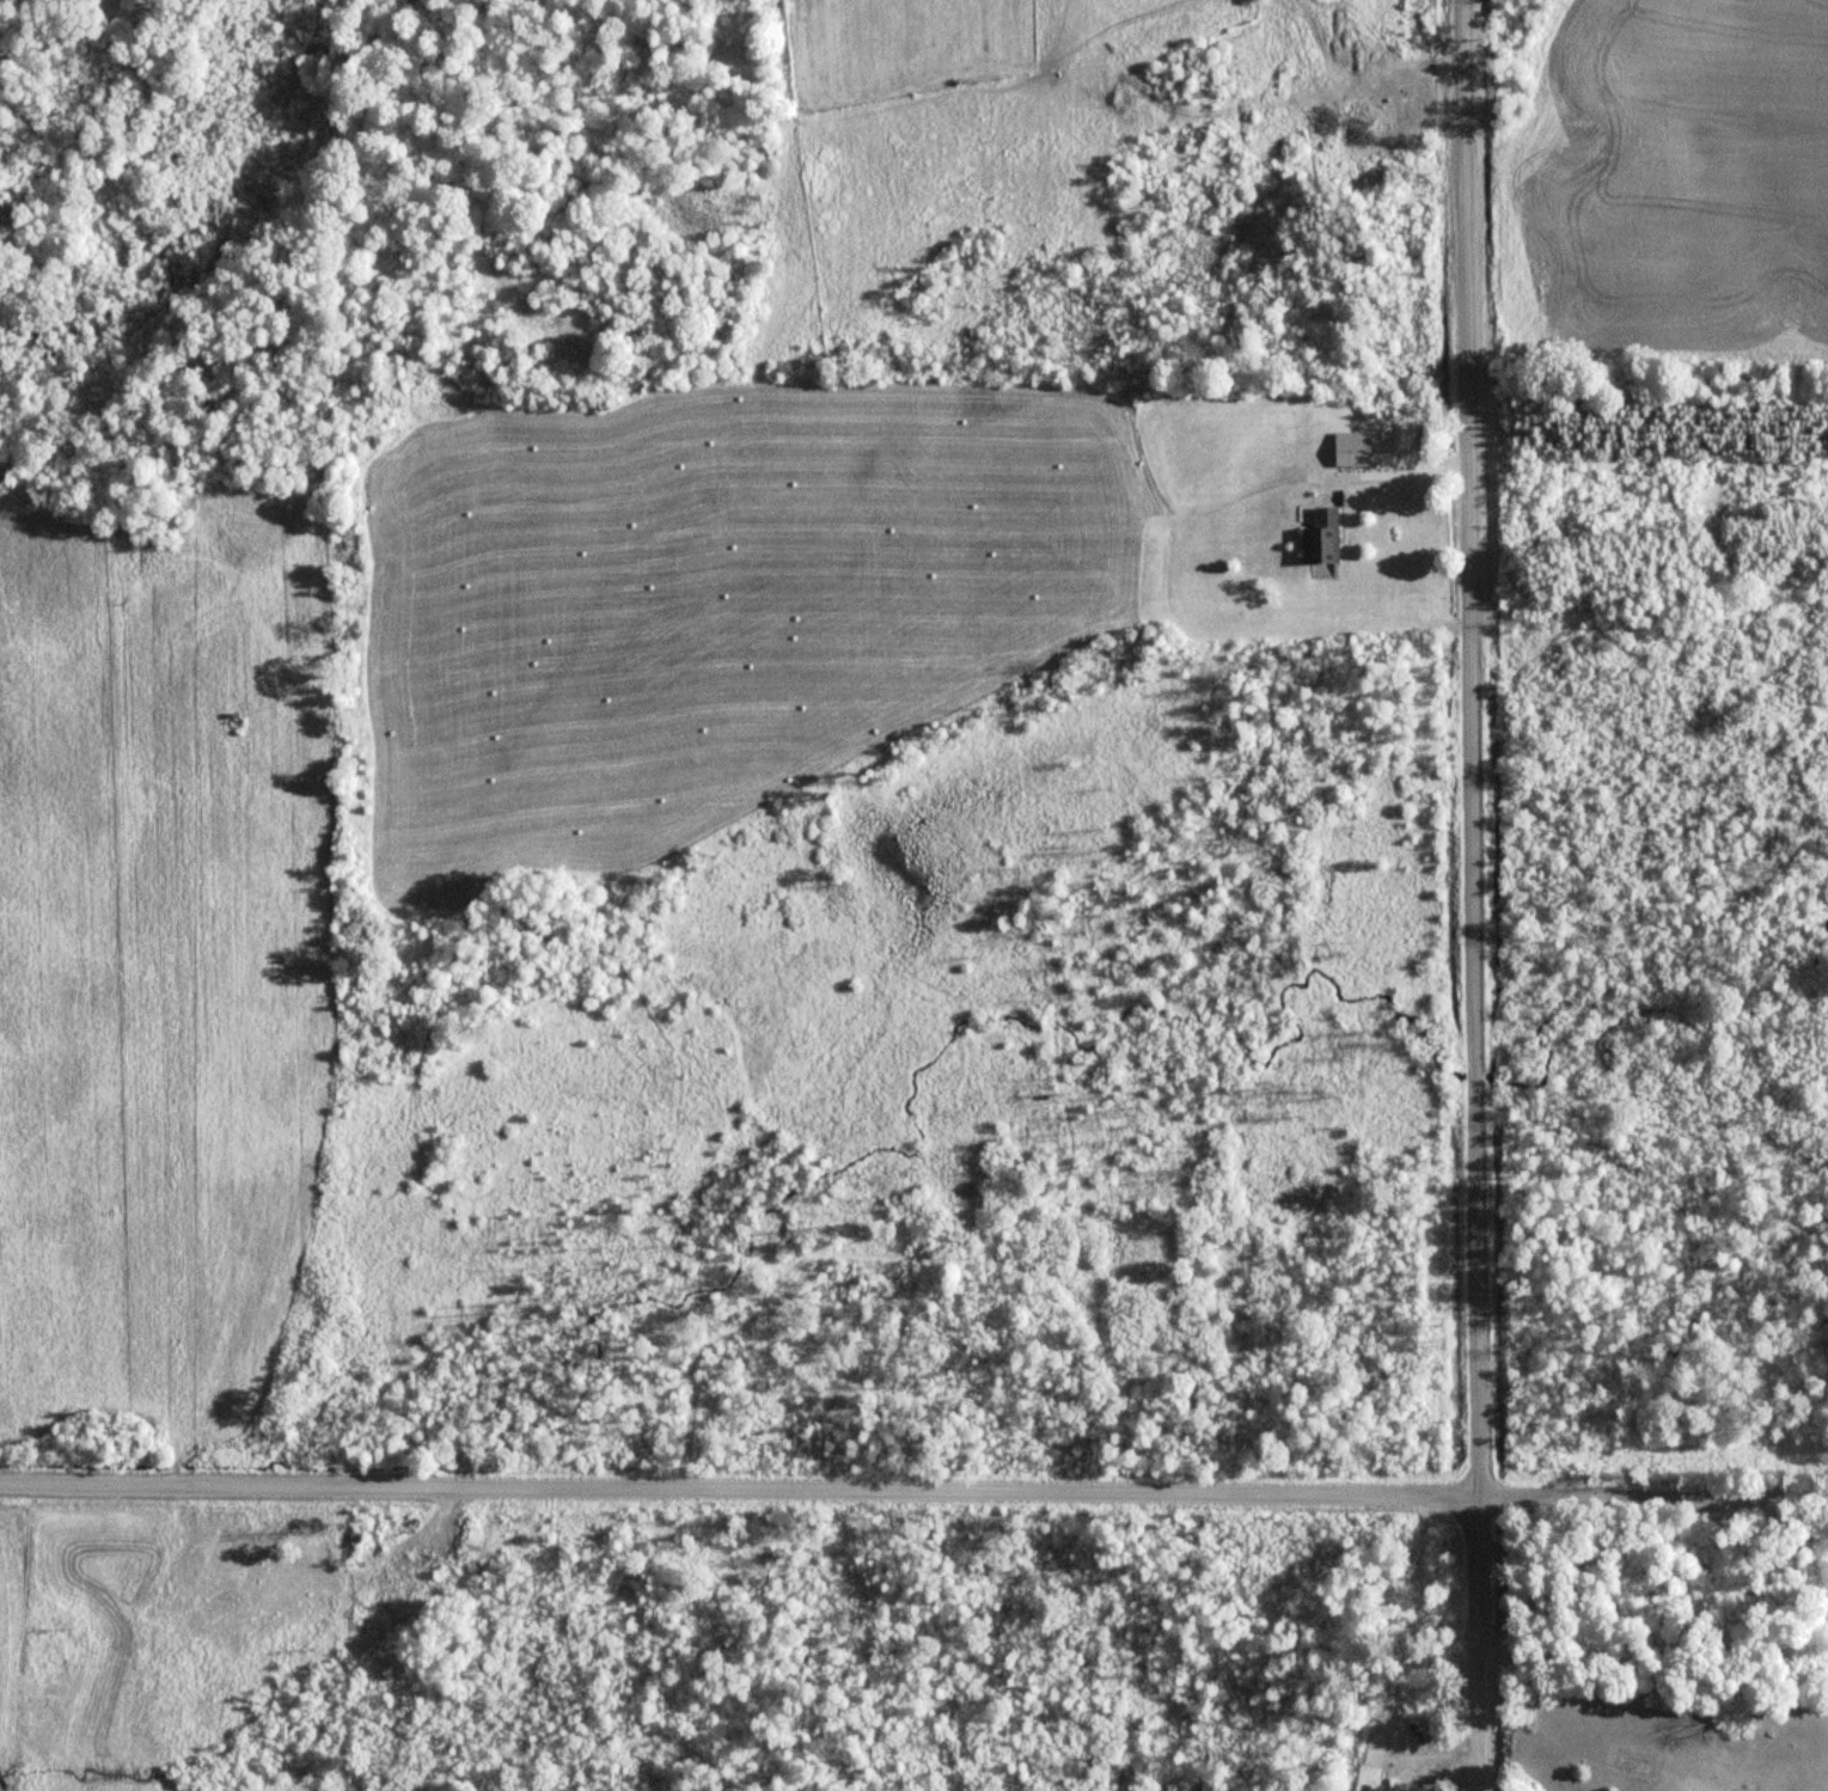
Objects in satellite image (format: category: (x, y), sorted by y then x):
building: (1350, 448)
building: (1320, 536)
road: (1474, 894)
road: (913, 1485)
building: (384, 1589)

